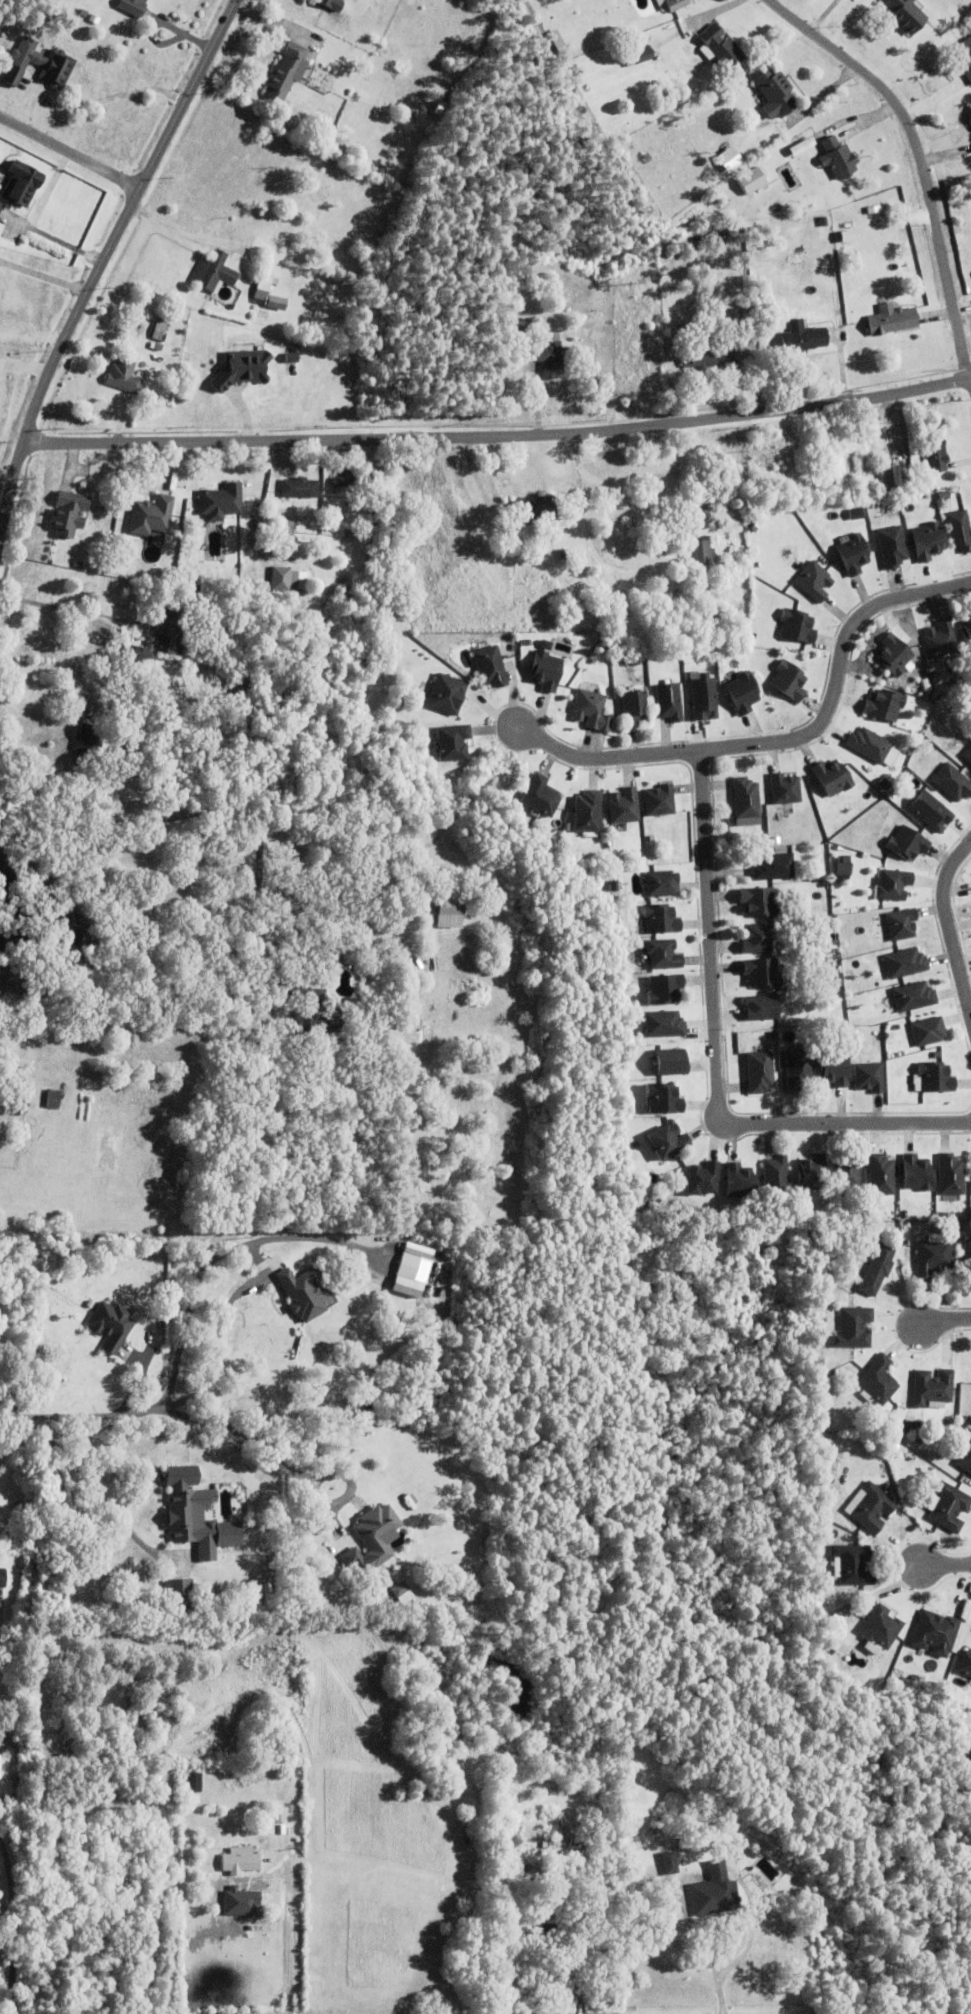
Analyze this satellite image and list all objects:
building: (331, 4)
building: (676, 4)
building: (133, 7)
building: (906, 15)
building: (722, 48)
building: (639, 55)
building: (965, 56)
building: (39, 65)
building: (287, 72)
building: (776, 94)
building: (440, 110)
building: (802, 147)
road: (67, 149)
building: (733, 158)
road: (921, 158)
building: (838, 159)
building: (754, 180)
building: (20, 186)
building: (870, 211)
building: (882, 227)
road: (100, 253)
building: (214, 273)
building: (262, 287)
building: (761, 296)
building: (750, 299)
building: (276, 304)
building: (749, 315)
building: (892, 320)
building: (162, 332)
building: (802, 339)
building: (709, 355)
building: (292, 357)
building: (550, 357)
building: (246, 366)
building: (125, 377)
road: (970, 381)
road: (496, 437)
building: (936, 456)
building: (896, 475)
building: (352, 481)
building: (300, 489)
building: (223, 501)
building: (534, 511)
building: (71, 513)
building: (856, 515)
building: (151, 517)
building: (285, 525)
building: (756, 528)
building: (957, 529)
building: (156, 542)
building: (928, 542)
building: (893, 548)
building: (702, 552)
building: (563, 555)
building: (853, 555)
building: (291, 579)
building: (815, 582)
road: (53, 606)
building: (711, 618)
building: (798, 627)
building: (164, 637)
building: (967, 638)
building: (941, 641)
building: (895, 656)
building: (491, 669)
road: (52, 671)
building: (546, 672)
building: (790, 683)
building: (240, 684)
building: (926, 686)
building: (443, 693)
building: (743, 694)
building: (704, 701)
building: (669, 704)
building: (885, 706)
building: (635, 710)
building: (592, 712)
building: (450, 741)
road: (783, 742)
building: (87, 745)
building: (873, 748)
building: (968, 757)
building: (128, 776)
building: (833, 779)
building: (953, 784)
building: (786, 791)
building: (536, 795)
building: (746, 801)
building: (660, 802)
building: (624, 808)
building: (584, 810)
building: (931, 813)
building: (763, 842)
building: (776, 842)
building: (907, 845)
building: (841, 867)
building: (774, 869)
building: (662, 885)
building: (894, 886)
building: (759, 904)
building: (440, 914)
building: (661, 921)
building: (828, 921)
building: (901, 926)
road: (947, 930)
building: (757, 940)
building: (663, 957)
building: (335, 958)
building: (906, 965)
building: (333, 972)
building: (763, 976)
building: (837, 982)
building: (306, 993)
building: (664, 993)
building: (915, 998)
building: (762, 1010)
building: (314, 1025)
building: (664, 1027)
building: (928, 1033)
road: (713, 1061)
building: (671, 1064)
building: (834, 1069)
building: (799, 1072)
building: (760, 1074)
building: (936, 1079)
building: (870, 1080)
building: (53, 1100)
building: (663, 1102)
building: (22, 1107)
building: (667, 1145)
building: (847, 1173)
building: (918, 1175)
building: (812, 1176)
building: (776, 1177)
building: (882, 1177)
building: (951, 1177)
building: (703, 1182)
building: (740, 1184)
building: (968, 1255)
building: (934, 1260)
building: (408, 1269)
building: (878, 1272)
building: (402, 1286)
building: (818, 1286)
building: (302, 1296)
building: (91, 1306)
building: (139, 1307)
building: (399, 1312)
road: (943, 1322)
building: (112, 1328)
building: (853, 1330)
road: (214, 1347)
building: (877, 1380)
building: (932, 1387)
road: (174, 1410)
building: (898, 1416)
building: (968, 1419)
building: (871, 1428)
building: (893, 1445)
building: (19, 1453)
building: (964, 1457)
building: (949, 1505)
building: (872, 1506)
building: (19, 1509)
building: (188, 1509)
building: (375, 1542)
building: (852, 1563)
road: (944, 1566)
building: (3, 1577)
building: (399, 1592)
building: (179, 1596)
building: (881, 1626)
building: (935, 1631)
building: (964, 1663)
building: (17, 1728)
building: (1, 1766)
building: (273, 1777)
building: (173, 1780)
building: (190, 1781)
building: (55, 1839)
building: (576, 1841)
building: (590, 1844)
building: (240, 1861)
building: (669, 1861)
building: (712, 1888)
road: (13, 1925)
building: (31, 1930)
building: (549, 1930)
road: (288, 1934)
building: (609, 1935)
road: (696, 1943)

